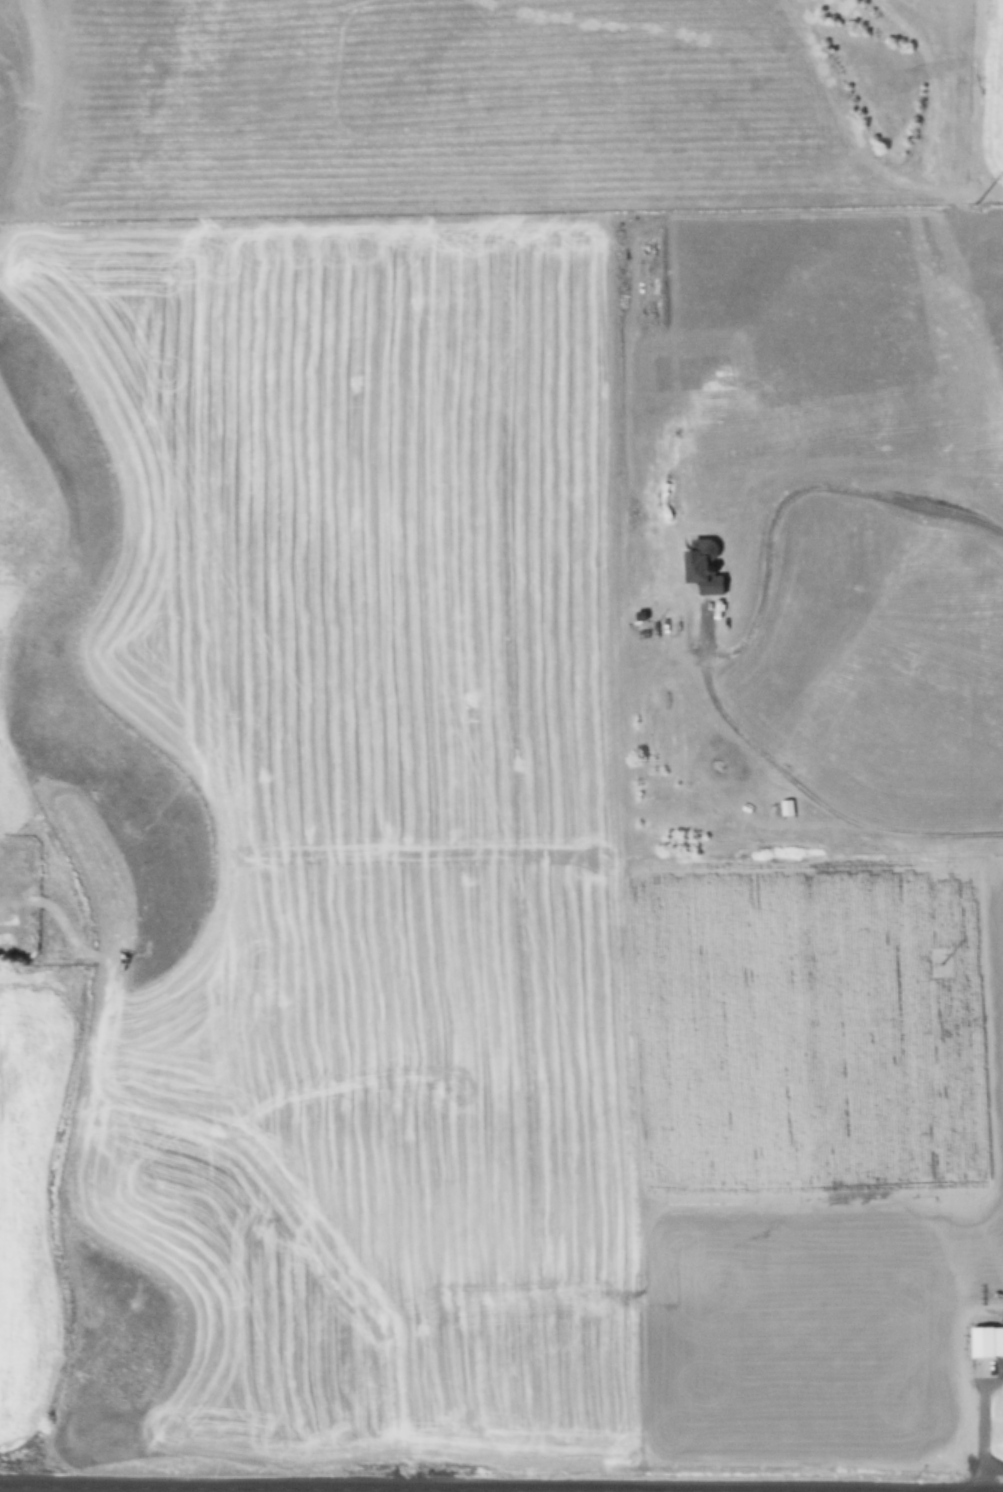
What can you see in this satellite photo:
power tower: (974, 203)
building: (703, 567)
power tower: (937, 965)
building: (987, 1342)
road: (338, 1489)

